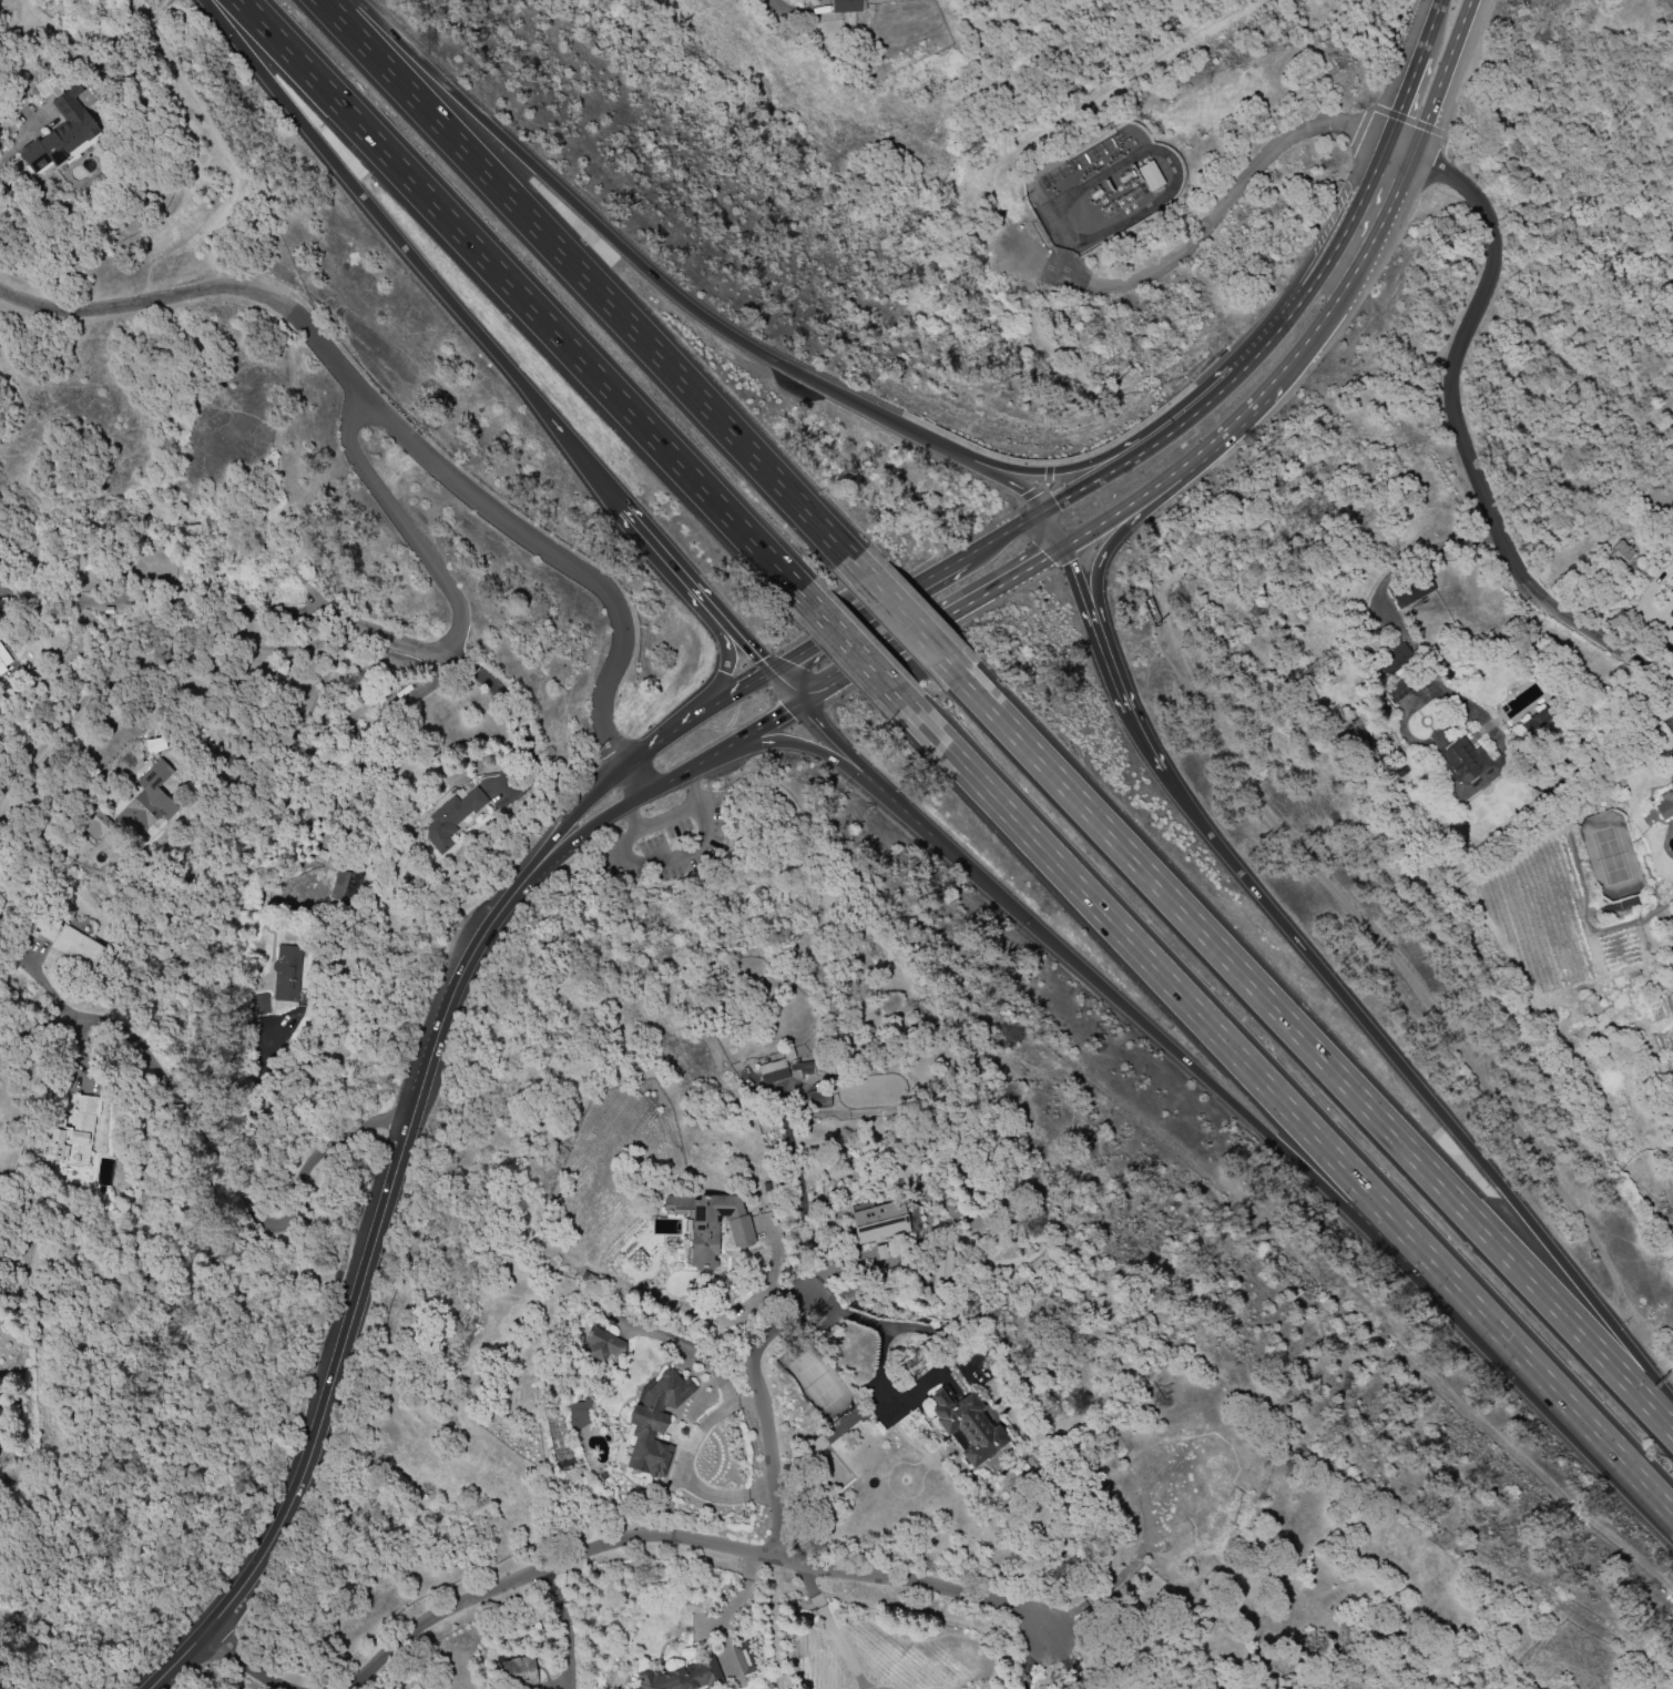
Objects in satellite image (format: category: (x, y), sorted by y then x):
building: (847, 6)
road: (1430, 28)
road: (1445, 79)
building: (48, 84)
road: (1404, 95)
building: (63, 138)
road: (229, 160)
building: (1149, 174)
power substation: (1102, 185)
road: (1212, 211)
road: (414, 254)
road: (640, 265)
road: (1358, 272)
road: (586, 278)
road: (518, 294)
road: (1291, 314)
road: (1267, 393)
road: (392, 428)
road: (1458, 429)
road: (1208, 446)
road: (1058, 470)
road: (1011, 481)
traffic signals: (1057, 503)
road: (1051, 506)
road: (25, 516)
road: (1114, 516)
road: (1054, 528)
road: (322, 536)
road: (242, 537)
road: (37, 548)
road: (664, 549)
road: (1103, 552)
building: (1622, 556)
traffic signals: (1044, 559)
traffic signals: (1071, 564)
road: (35, 573)
road: (298, 574)
building: (1410, 589)
road: (1082, 596)
road: (315, 599)
road: (972, 601)
road: (1386, 606)
road: (867, 614)
road: (907, 618)
road: (373, 631)
road: (736, 631)
road: (855, 650)
road: (725, 659)
building: (3, 660)
traffic signals: (762, 660)
building: (1387, 661)
traffic signals: (788, 662)
road: (159, 670)
road: (1110, 673)
road: (843, 680)
road: (788, 688)
building: (1397, 690)
traffic signals: (786, 714)
road: (700, 716)
building: (1534, 721)
road: (1143, 737)
road: (726, 749)
building: (1466, 765)
road: (850, 771)
road: (637, 780)
building: (494, 782)
building: (147, 800)
parking lot: (679, 803)
road: (631, 804)
building: (1665, 804)
road: (579, 811)
road: (672, 814)
building: (452, 816)
building: (100, 824)
road: (574, 836)
parking lot: (667, 843)
road: (688, 855)
building: (320, 856)
building: (338, 885)
building: (81, 949)
building: (285, 979)
road: (1416, 987)
road: (1318, 1049)
building: (807, 1065)
building: (779, 1068)
road: (1407, 1068)
road: (1238, 1109)
road: (1292, 1112)
road: (253, 1118)
building: (75, 1133)
road: (205, 1157)
building: (703, 1222)
building: (887, 1223)
building: (744, 1233)
building: (941, 1263)
road: (358, 1285)
road: (879, 1341)
building: (606, 1344)
building: (924, 1363)
road: (755, 1382)
road: (1660, 1383)
building: (977, 1428)
building: (834, 1429)
building: (650, 1432)
road: (698, 1441)
road: (684, 1540)
road: (563, 1627)
road: (832, 1627)
building: (746, 1659)
road: (1031, 1660)
road: (245, 1661)
road: (1068, 1662)
building: (520, 1670)
building: (687, 1678)
road: (883, 1688)

